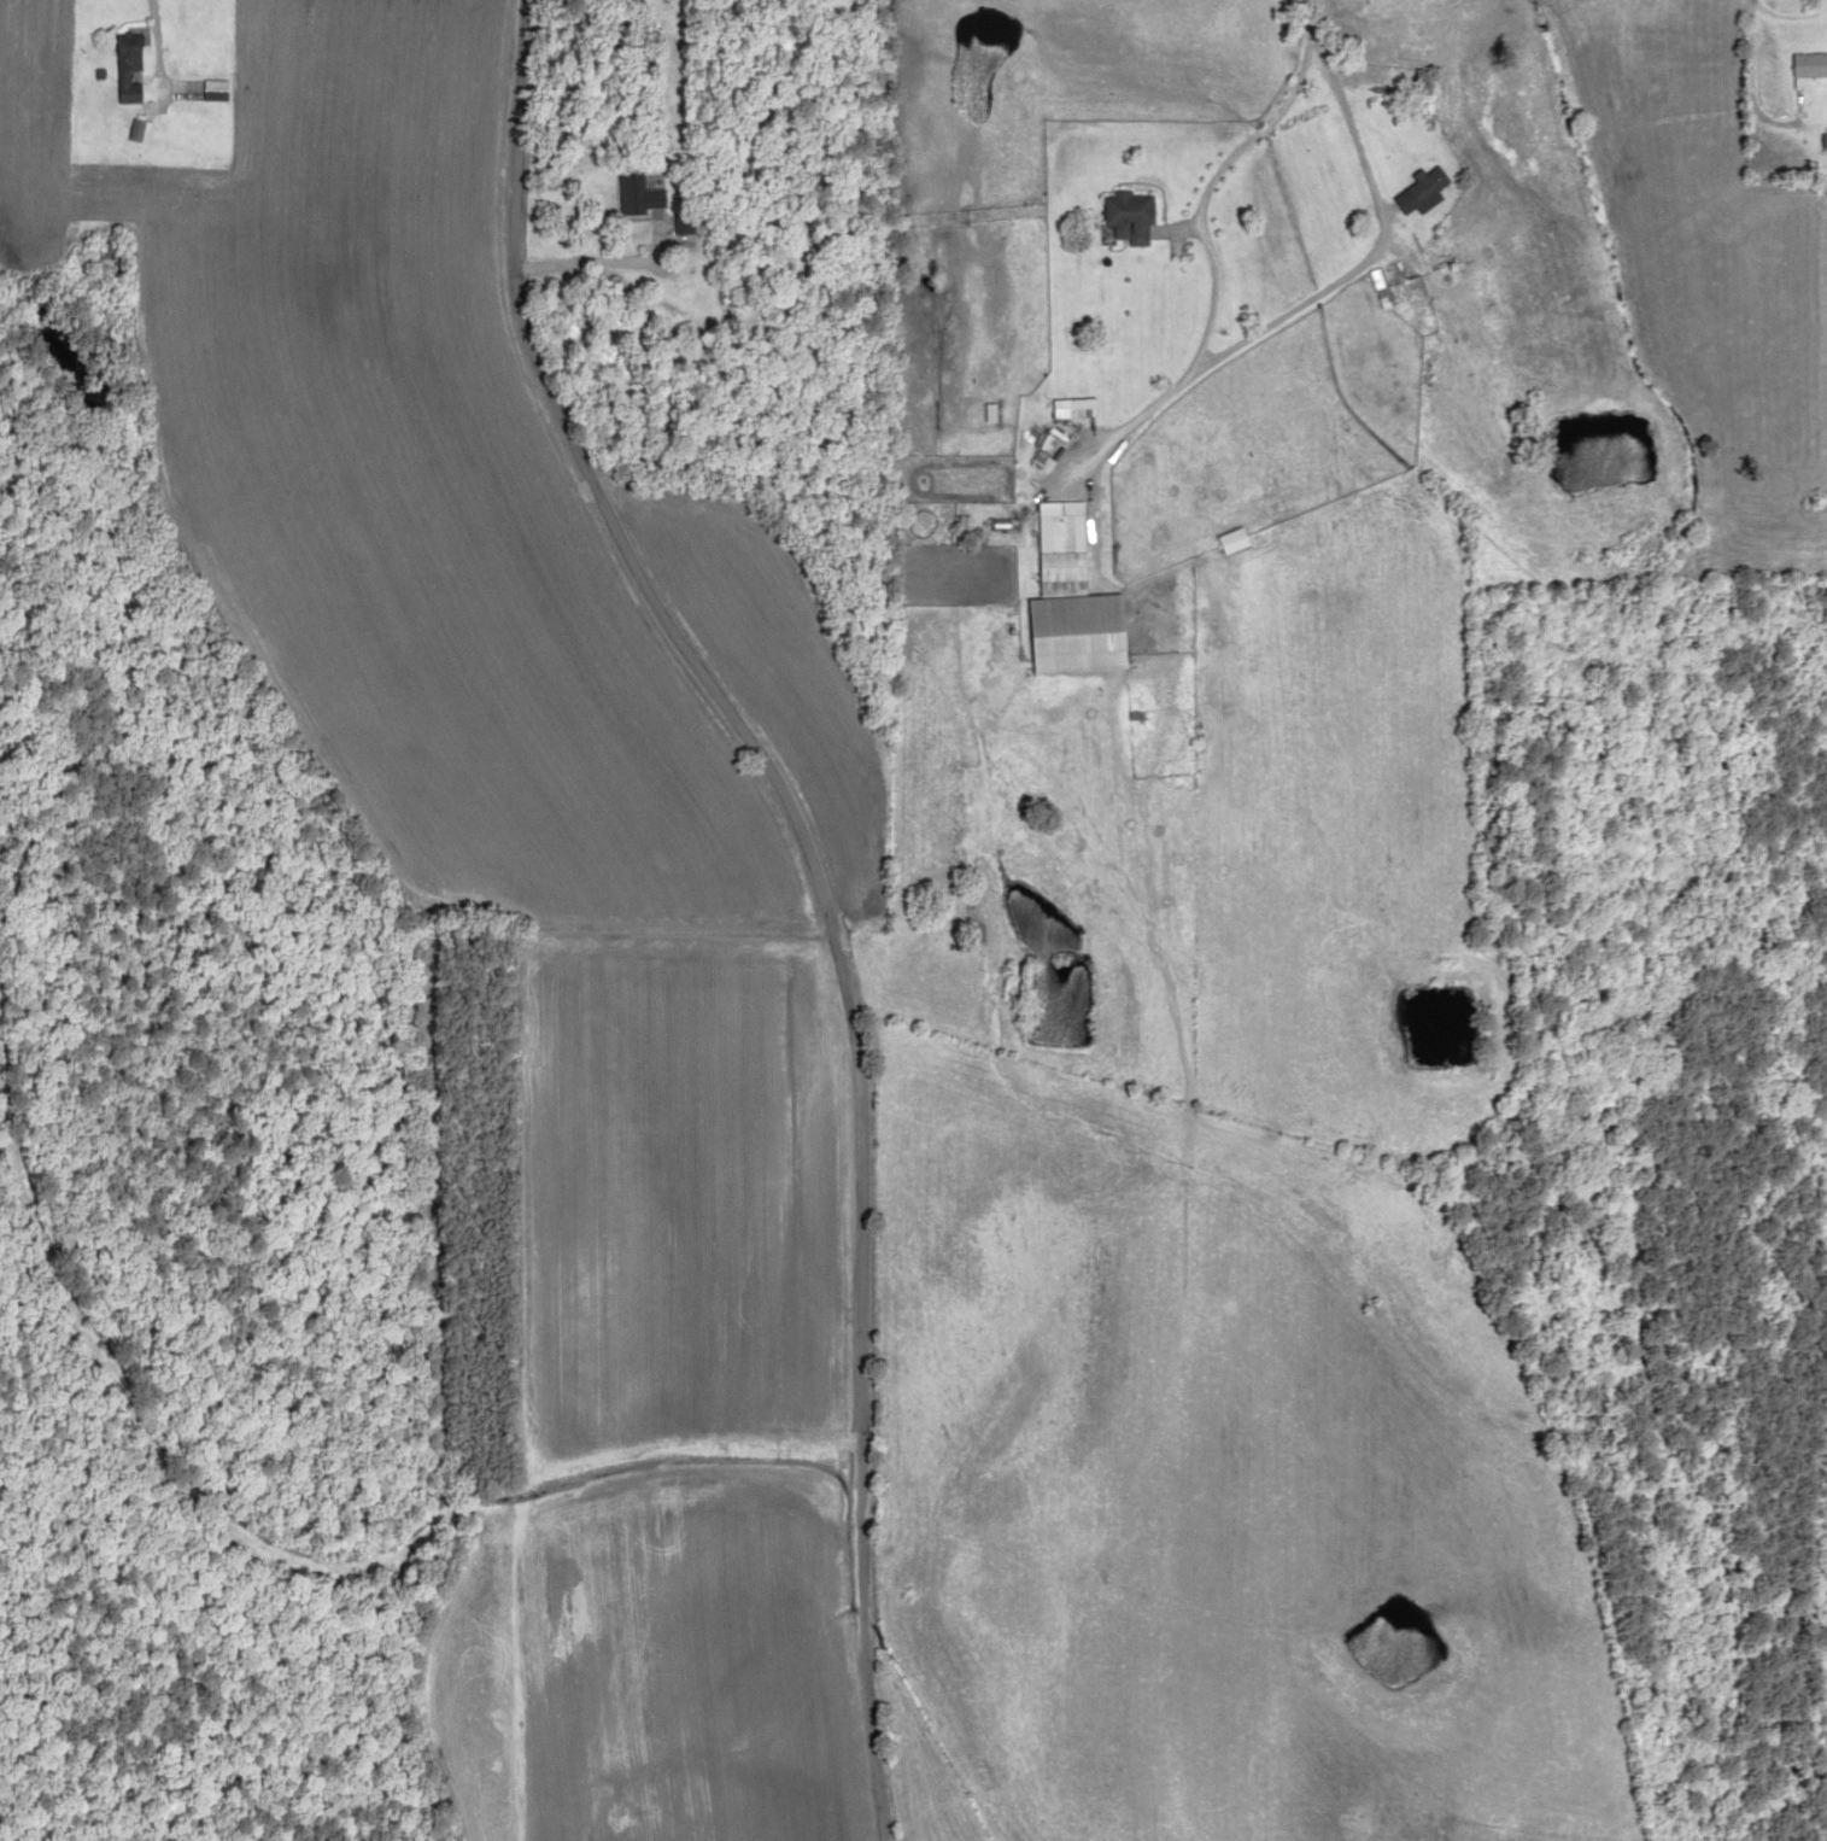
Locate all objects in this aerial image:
building: (1808, 65)
building: (125, 68)
building: (1413, 83)
building: (213, 90)
building: (1412, 193)
building: (637, 197)
building: (1122, 218)
building: (1067, 409)
building: (1225, 539)
building: (1061, 600)
road: (826, 887)

